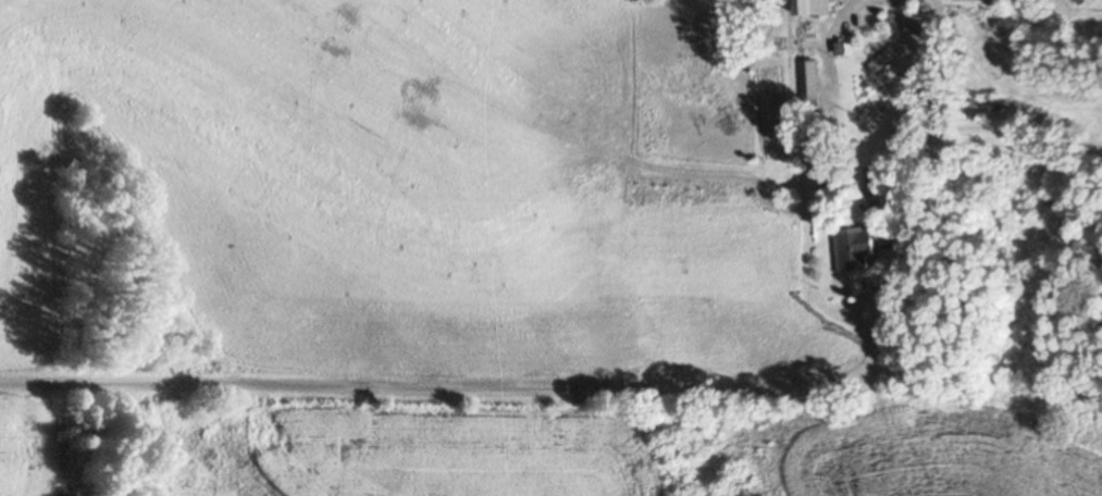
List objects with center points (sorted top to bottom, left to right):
building: (815, 9)
building: (918, 27)
building: (809, 83)
building: (993, 109)
building: (858, 250)
road: (639, 390)

